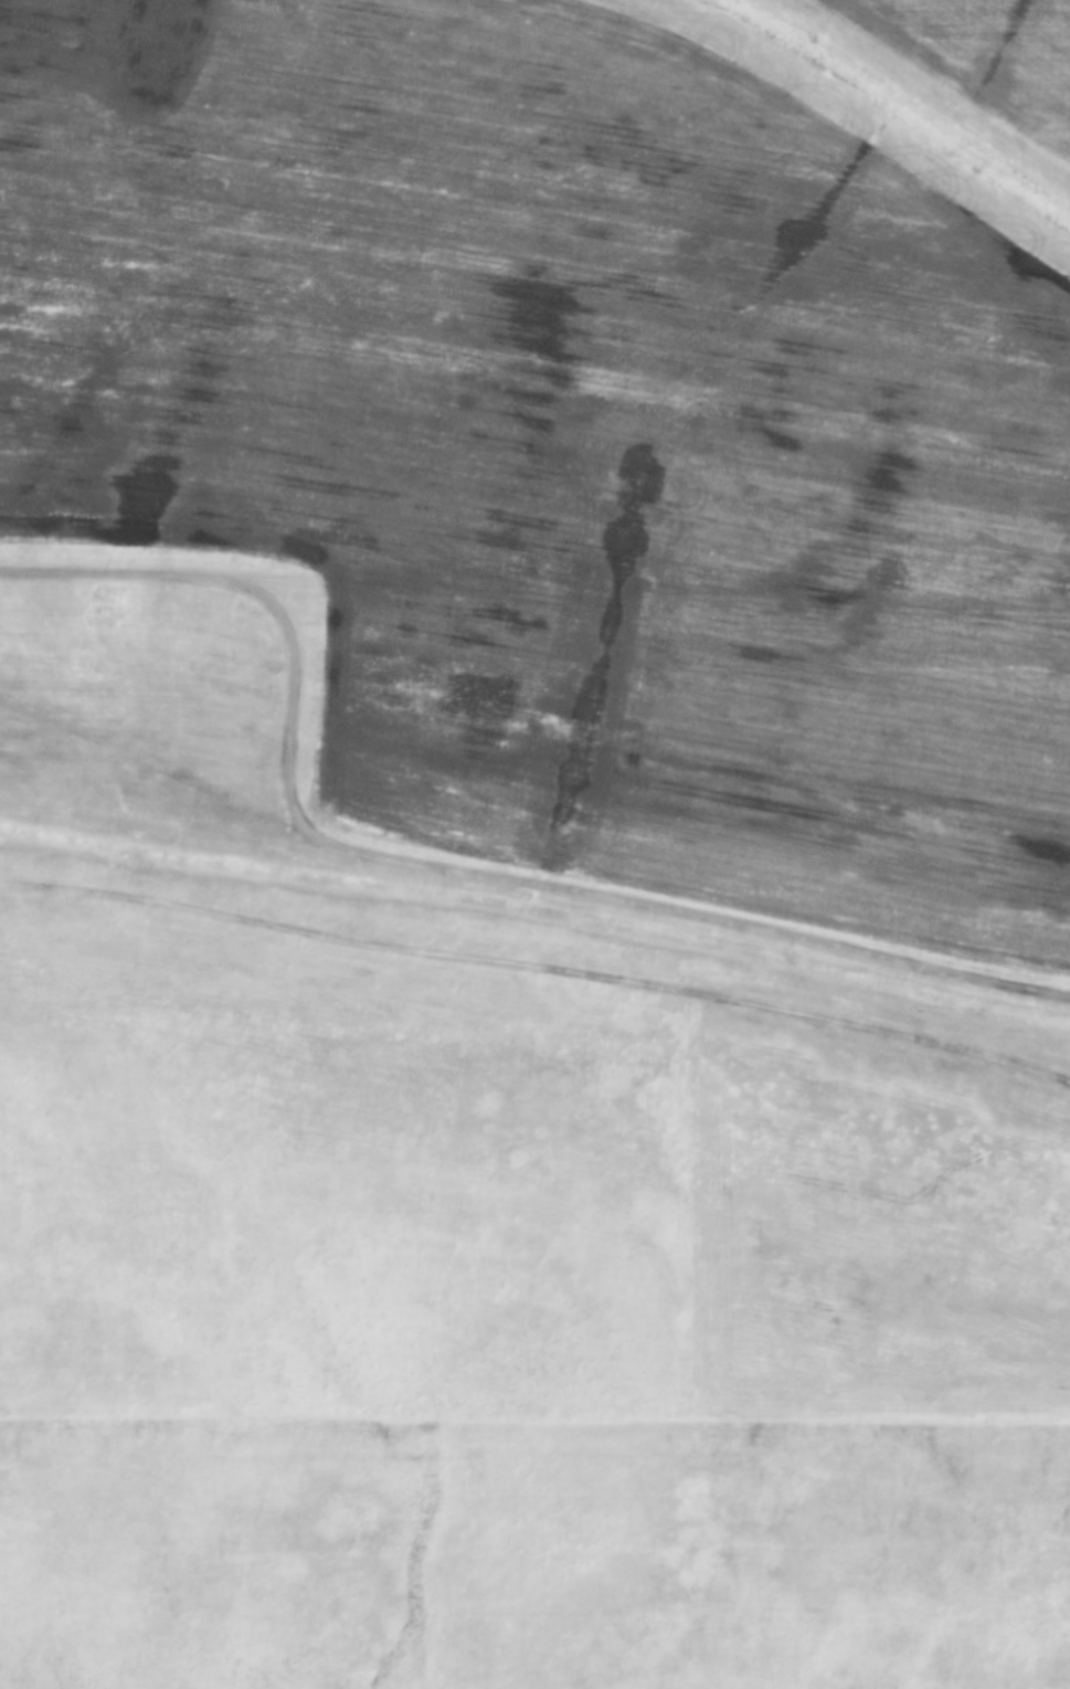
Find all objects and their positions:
road: (276, 569)
road: (537, 970)

